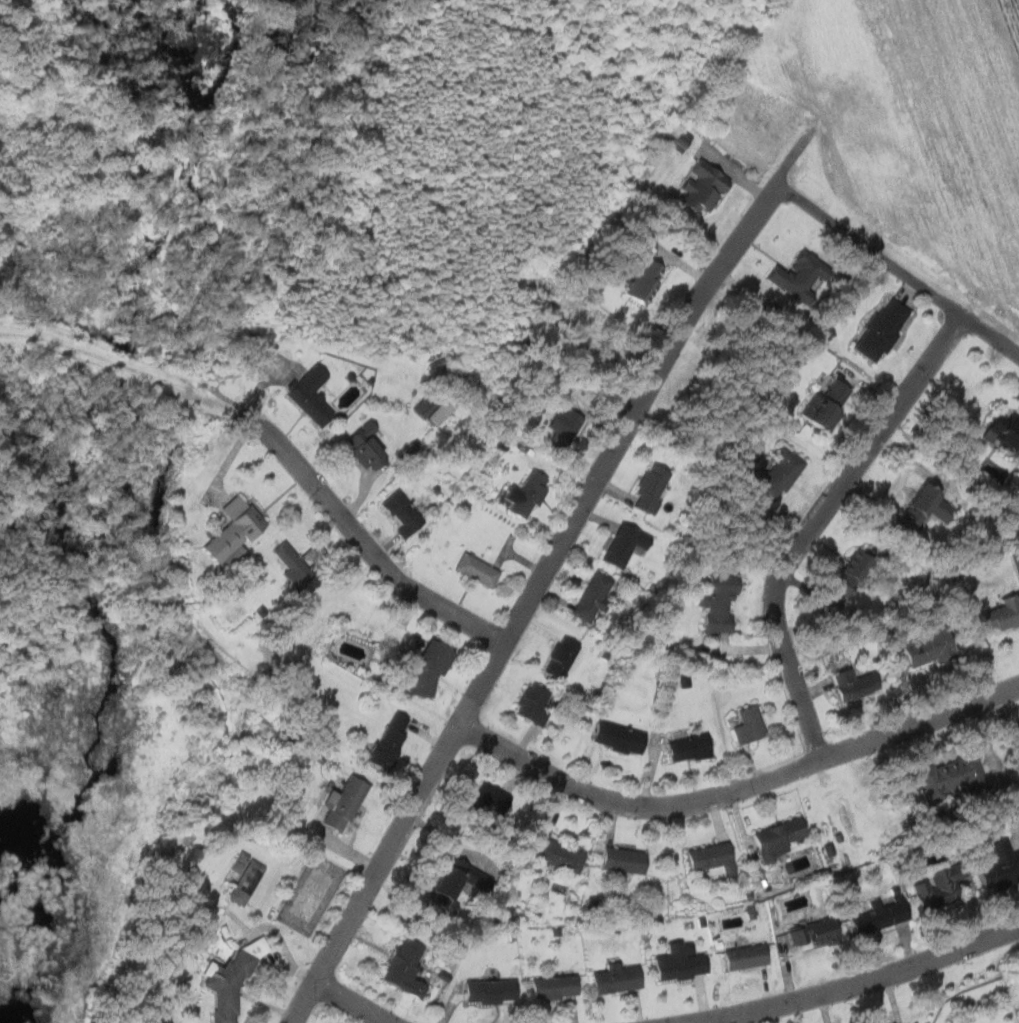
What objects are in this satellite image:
building: (679, 139)
building: (705, 150)
building: (697, 188)
road: (897, 268)
building: (790, 276)
building: (641, 282)
building: (877, 329)
building: (832, 389)
building: (305, 394)
building: (812, 412)
building: (432, 414)
building: (558, 428)
building: (1001, 432)
building: (359, 448)
building: (774, 473)
building: (647, 488)
building: (524, 494)
building: (920, 507)
building: (403, 512)
building: (236, 517)
road: (818, 526)
road: (365, 542)
building: (621, 544)
building: (286, 565)
building: (478, 570)
road: (550, 572)
building: (842, 581)
building: (1001, 590)
building: (588, 596)
building: (710, 607)
building: (922, 647)
building: (555, 657)
building: (422, 669)
building: (846, 683)
building: (532, 703)
building: (743, 723)
building: (1018, 725)
building: (611, 736)
building: (384, 739)
building: (685, 746)
building: (947, 776)
road: (739, 793)
building: (337, 802)
building: (479, 803)
building: (773, 836)
building: (549, 854)
building: (706, 858)
building: (617, 859)
building: (994, 864)
building: (243, 877)
building: (449, 881)
building: (933, 888)
building: (873, 915)
building: (809, 932)
building: (254, 947)
building: (739, 957)
building: (675, 961)
building: (397, 973)
building: (610, 979)
road: (859, 982)
building: (226, 985)
building: (548, 986)
building: (484, 990)
road: (357, 1003)
building: (882, 1022)

